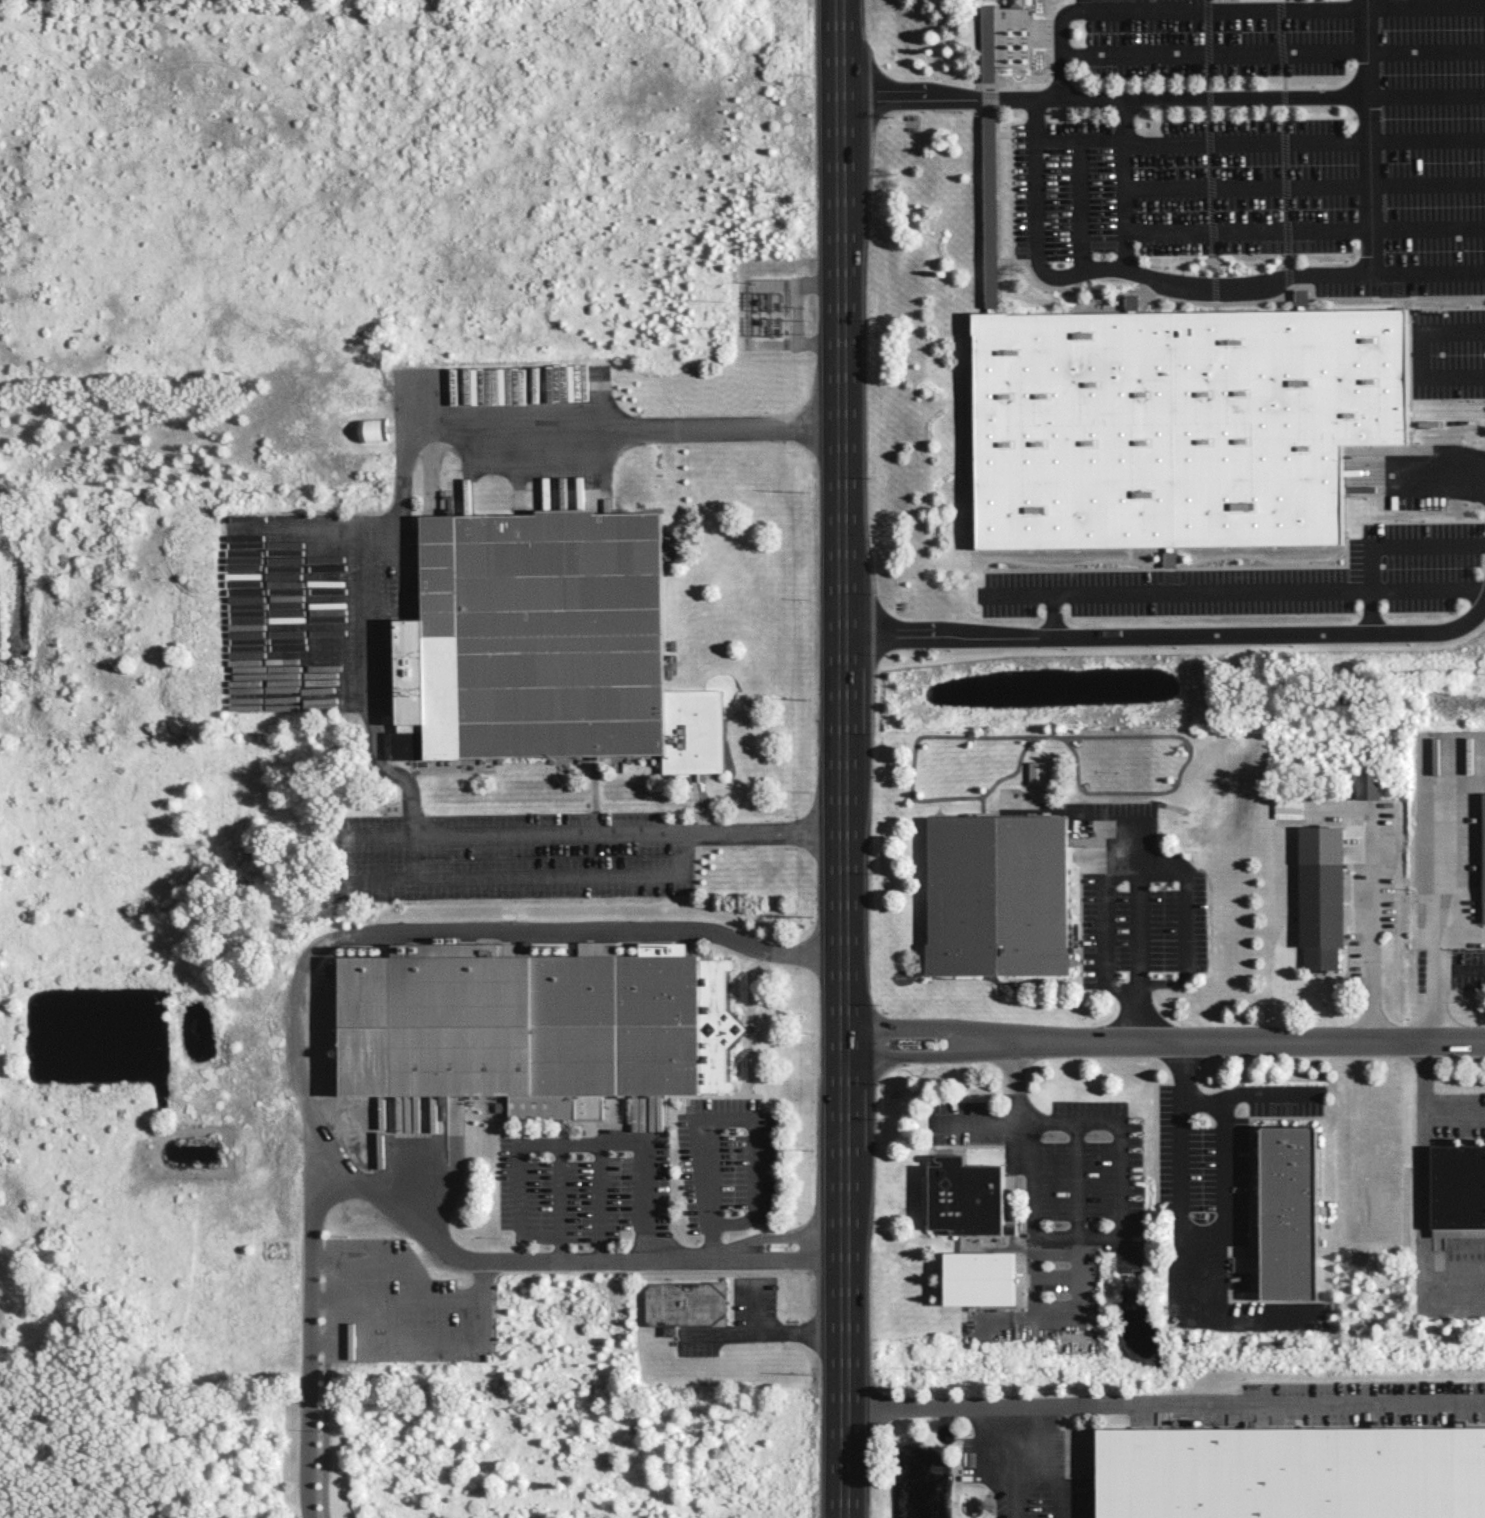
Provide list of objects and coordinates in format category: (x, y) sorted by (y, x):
building: (1015, 3)
road: (1365, 4)
road: (1425, 8)
road: (1173, 10)
road: (1274, 53)
road: (1425, 97)
road: (1146, 101)
building: (988, 124)
road: (1304, 143)
road: (1079, 183)
road: (1124, 188)
road: (1305, 188)
road: (1304, 232)
road: (1428, 276)
road: (1207, 292)
building: (1301, 297)
building: (1131, 302)
power substation: (769, 318)
road: (1417, 357)
building: (1177, 422)
road: (1428, 472)
road: (840, 523)
road: (1406, 545)
building: (1170, 556)
road: (1245, 590)
road: (1020, 593)
road: (363, 612)
road: (274, 613)
road: (317, 613)
road: (233, 614)
road: (1173, 638)
building: (545, 645)
building: (1037, 772)
building: (1367, 786)
building: (1287, 809)
road: (1442, 828)
road: (1138, 843)
building: (1483, 857)
road: (1179, 867)
road: (459, 875)
building: (996, 895)
building: (1320, 895)
road: (1371, 929)
road: (1462, 933)
road: (1462, 970)
road: (1438, 989)
road: (295, 1011)
building: (533, 1025)
road: (1163, 1045)
road: (1247, 1096)
road: (728, 1112)
road: (1454, 1114)
road: (562, 1141)
road: (1169, 1168)
road: (1074, 1178)
building: (1458, 1186)
road: (558, 1187)
road: (1224, 1190)
building: (967, 1197)
road: (1421, 1198)
road: (600, 1199)
building: (1288, 1212)
road: (1121, 1225)
road: (780, 1236)
road: (831, 1241)
road: (784, 1257)
building: (978, 1278)
road: (841, 1282)
building: (685, 1302)
road: (754, 1307)
road: (421, 1308)
road: (1053, 1319)
road: (761, 1334)
road: (307, 1335)
road: (1260, 1400)
road: (984, 1407)
road: (324, 1411)
building: (1291, 1472)
road: (1040, 1499)

